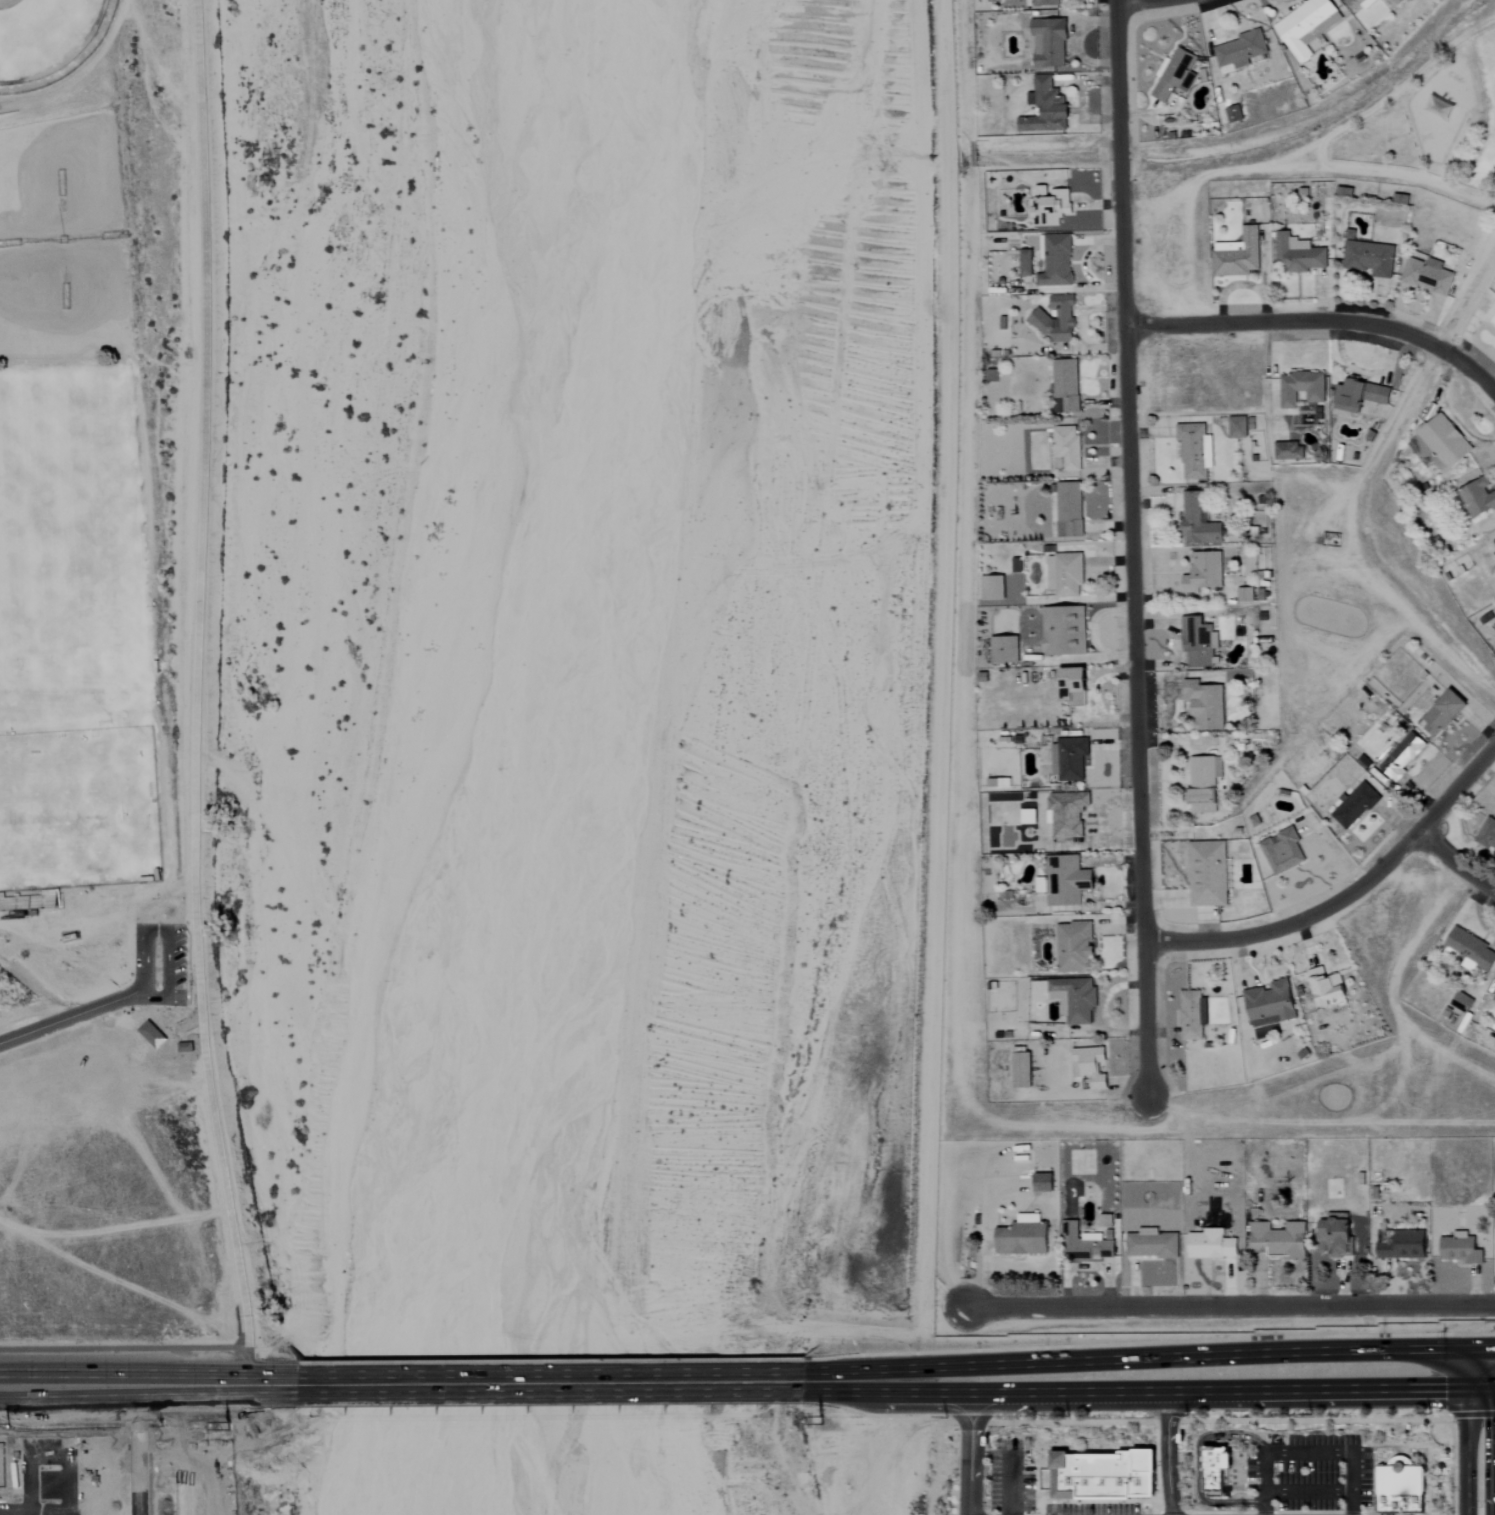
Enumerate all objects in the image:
building: (1045, 3)
building: (1361, 4)
building: (1308, 26)
park: (32, 31)
building: (1049, 43)
building: (1240, 52)
building: (1175, 75)
building: (1439, 107)
building: (1046, 108)
road: (1469, 111)
building: (1235, 115)
park: (1435, 121)
road: (1447, 174)
road: (1413, 176)
building: (1345, 193)
building: (1401, 200)
building: (1052, 207)
building: (1238, 255)
building: (1298, 255)
building: (1368, 257)
building: (1057, 262)
building: (1028, 264)
building: (1428, 276)
road: (1468, 300)
building: (1491, 314)
building: (1058, 320)
road: (1321, 322)
building: (1067, 385)
building: (1302, 388)
building: (1360, 396)
building: (1241, 427)
building: (1441, 444)
building: (1067, 449)
building: (1195, 450)
building: (1290, 451)
building: (1476, 497)
building: (1070, 509)
building: (1198, 520)
road: (1350, 539)
road: (1134, 546)
building: (1204, 572)
building: (1066, 574)
building: (993, 588)
building: (1251, 594)
building: (1065, 630)
park: (70, 638)
building: (1200, 642)
building: (1006, 649)
building: (1075, 686)
road: (198, 695)
building: (1206, 705)
building: (1445, 714)
building: (1404, 756)
building: (1070, 758)
river: (662, 759)
building: (1204, 783)
building: (1356, 806)
building: (1069, 813)
building: (1487, 835)
building: (1283, 851)
road: (1454, 862)
building: (1208, 874)
building: (1067, 880)
road: (1347, 893)
building: (27, 903)
road: (167, 931)
building: (1075, 947)
building: (1472, 949)
building: (1329, 989)
building: (1075, 999)
building: (1494, 1002)
building: (1463, 1003)
building: (1270, 1004)
building: (1193, 1015)
road: (72, 1017)
road: (174, 1020)
building: (152, 1035)
building: (1494, 1047)
building: (186, 1048)
building: (1090, 1066)
building: (1023, 1071)
building: (1044, 1183)
building: (1106, 1221)
building: (1024, 1236)
building: (1338, 1236)
building: (1281, 1239)
building: (1152, 1244)
building: (1089, 1245)
building: (1213, 1245)
building: (1405, 1246)
building: (1462, 1249)
road: (1229, 1306)
road: (123, 1347)
road: (1487, 1372)
traffic signals: (1480, 1373)
road: (1141, 1377)
road: (549, 1384)
road: (148, 1386)
road: (1471, 1414)
road: (1194, 1421)
road: (935, 1423)
road: (1371, 1434)
road: (1480, 1444)
road: (1166, 1446)
road: (969, 1447)
road: (1371, 1450)
road: (1341, 1451)
road: (1010, 1454)
road: (1154, 1460)
road: (1437, 1461)
road: (1452, 1464)
road: (1199, 1466)
road: (938, 1469)
building: (1215, 1469)
building: (1100, 1473)
parking lot: (1309, 1475)
parking lot: (1010, 1481)
road: (1267, 1483)
road: (1428, 1483)
building: (1399, 1489)
road: (1309, 1492)
road: (1078, 1501)
road: (1039, 1508)
parking lot: (1091, 1509)
road: (1172, 1513)
road: (1219, 1513)
road: (1264, 1513)
road: (1308, 1513)
road: (1351, 1513)
road: (1161, 1514)
road: (1365, 1514)

